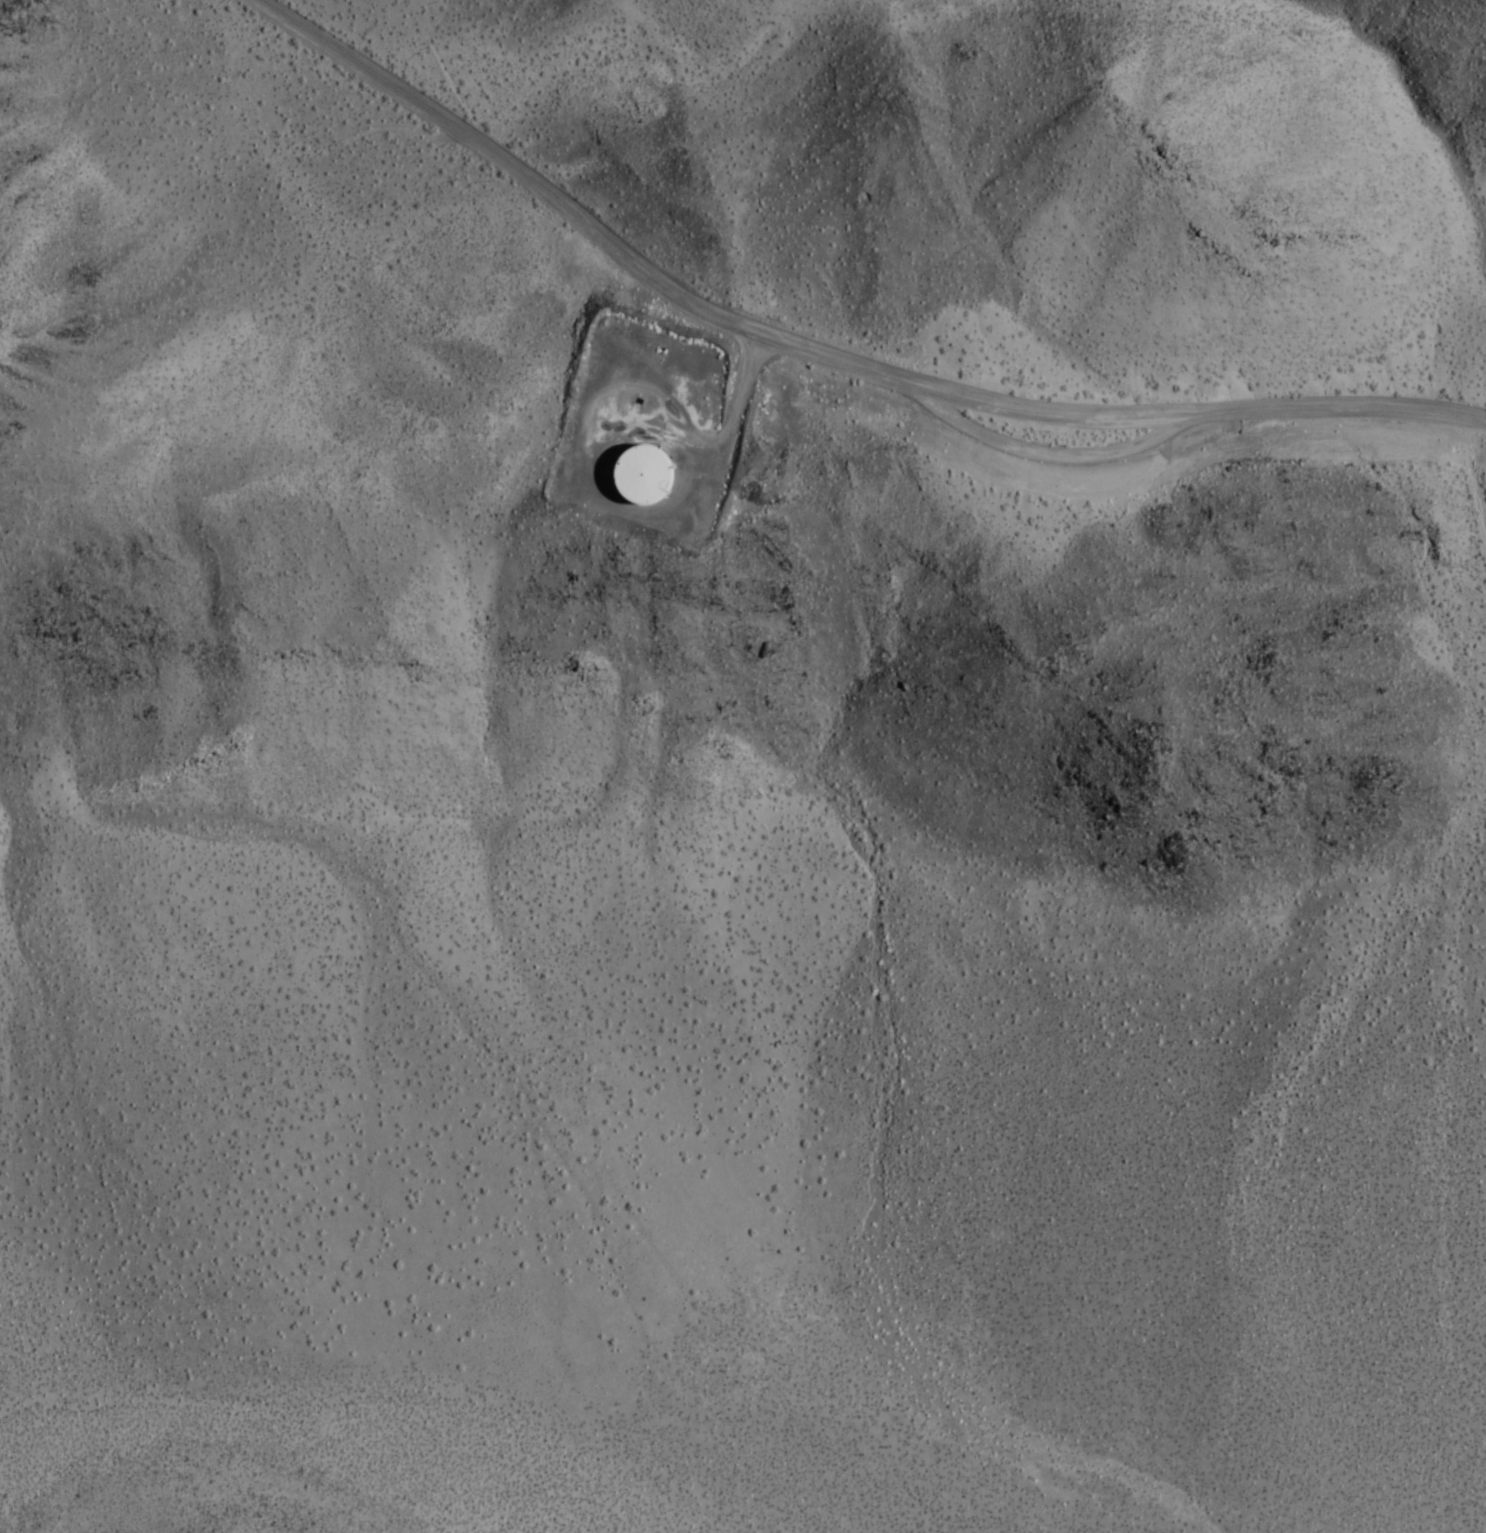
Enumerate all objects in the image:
road: (822, 353)
road: (734, 406)
building: (643, 470)
storage tank: (643, 470)

